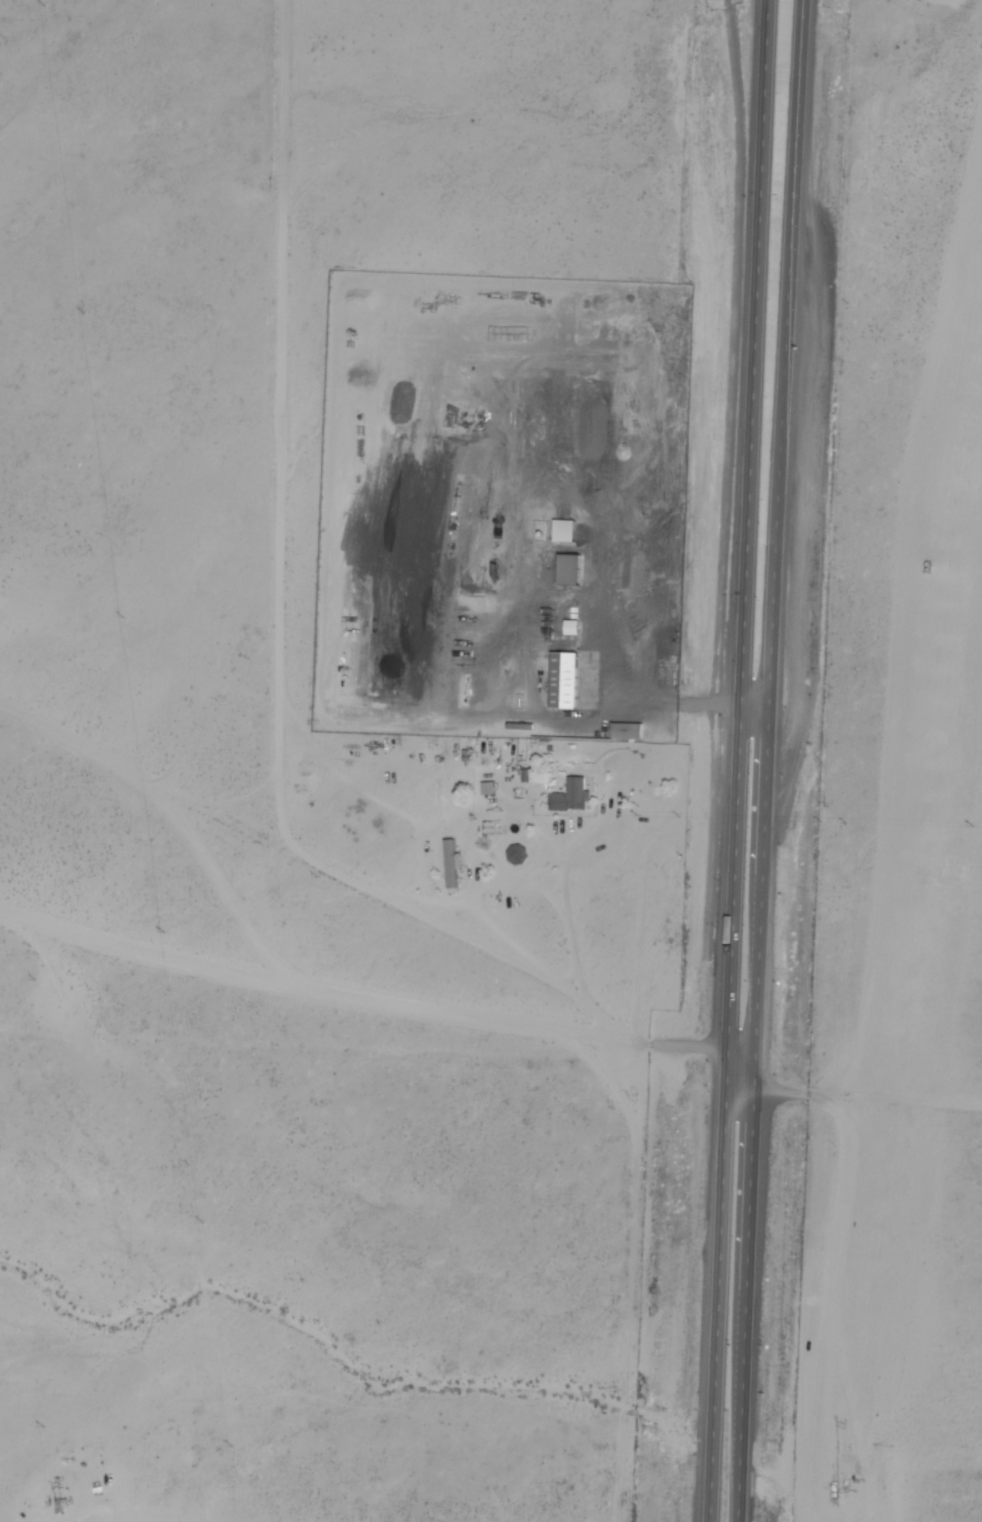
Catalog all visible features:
building: (563, 530)
building: (568, 568)
building: (563, 679)
road: (761, 716)
building: (626, 730)
road: (745, 760)
road: (774, 760)
building: (570, 795)
building: (450, 863)
road: (317, 864)
road: (364, 1003)
road: (748, 1054)
road: (747, 1097)
road: (871, 1102)

